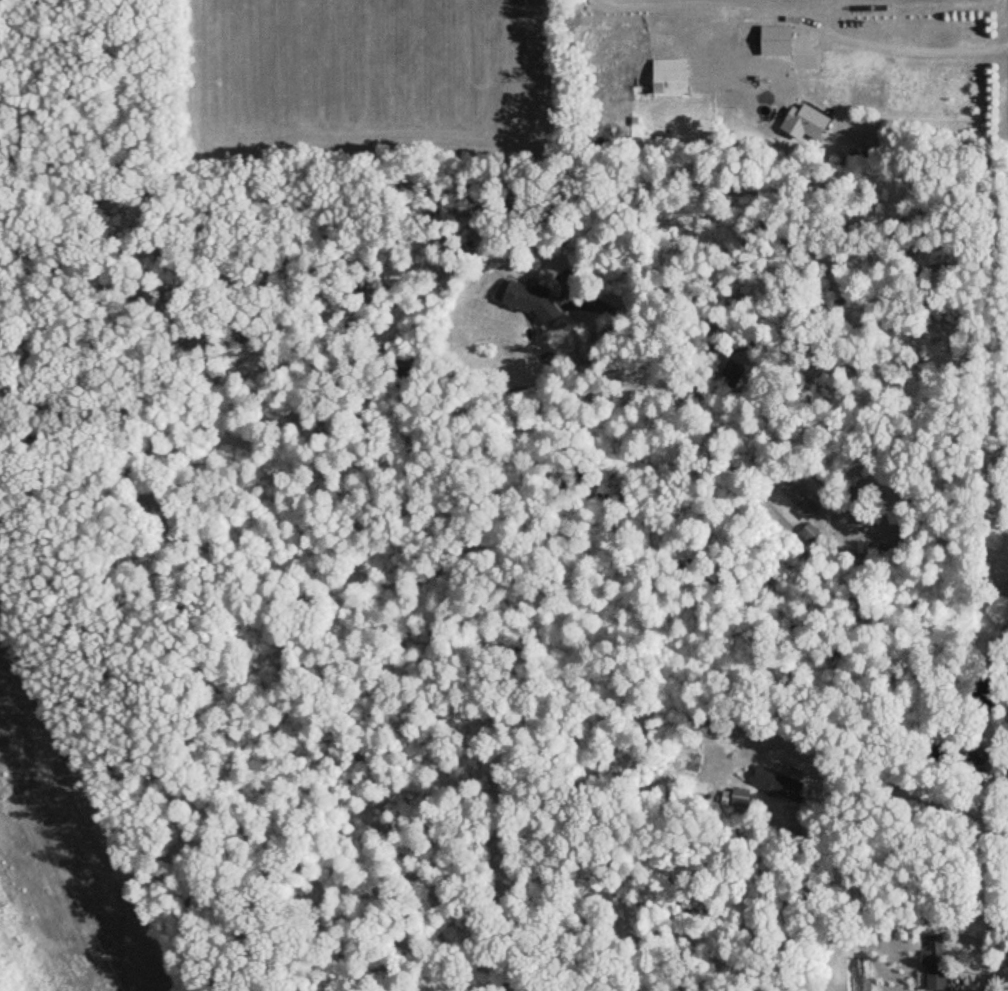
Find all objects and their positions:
building: (773, 41)
road: (916, 44)
building: (667, 77)
building: (802, 123)
building: (527, 301)
road: (795, 314)
building: (794, 499)
road: (923, 499)
building: (860, 553)
road: (909, 790)
building: (932, 967)

